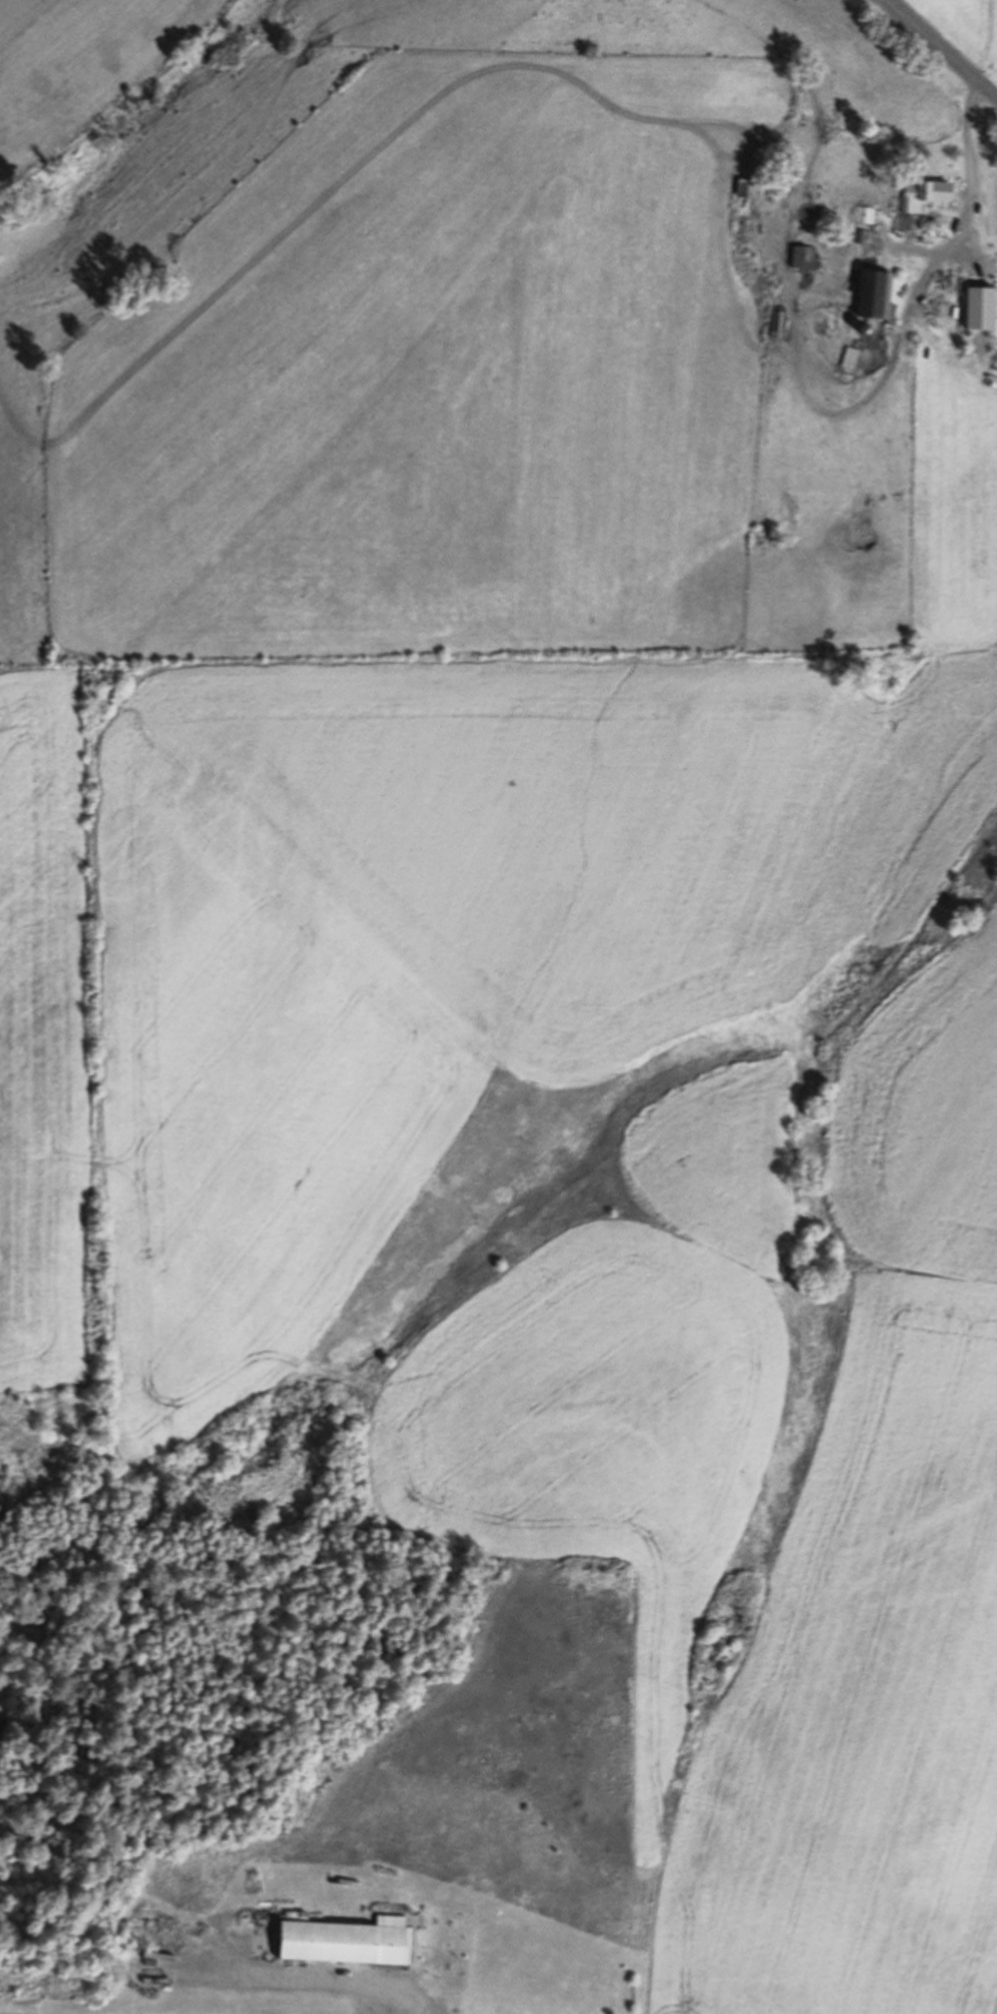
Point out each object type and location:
road: (944, 48)
building: (925, 193)
road: (967, 213)
building: (866, 216)
building: (930, 232)
building: (862, 236)
road: (908, 251)
building: (804, 256)
building: (883, 293)
building: (779, 323)
building: (853, 357)
road: (841, 412)
building: (350, 1942)

